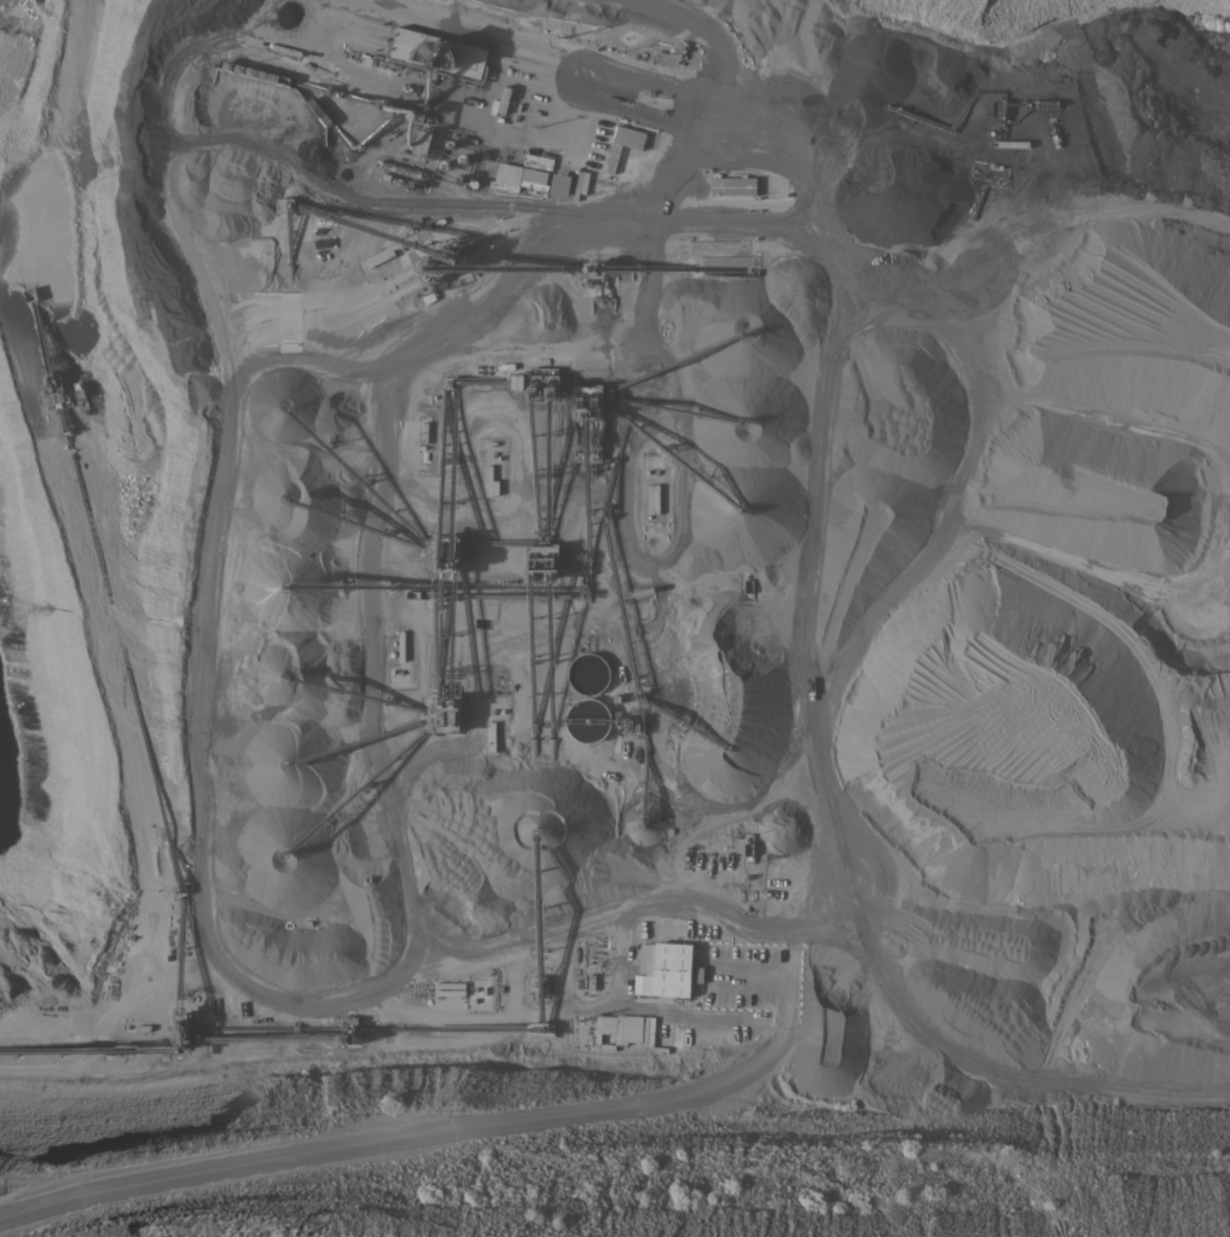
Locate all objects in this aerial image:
building: (439, 52)
flagpole: (530, 76)
building: (504, 98)
building: (623, 143)
building: (422, 145)
building: (538, 161)
building: (534, 174)
building: (533, 184)
building: (503, 185)
building: (558, 185)
building: (732, 185)
building: (442, 262)
building: (599, 268)
building: (535, 381)
building: (588, 420)
building: (491, 481)
building: (652, 498)
building: (447, 552)
building: (543, 563)
quarry: (617, 614)
building: (587, 673)
building: (443, 710)
building: (587, 719)
building: (626, 721)
building: (666, 969)
building: (449, 985)
building: (449, 992)
building: (625, 1028)
road: (463, 1125)

